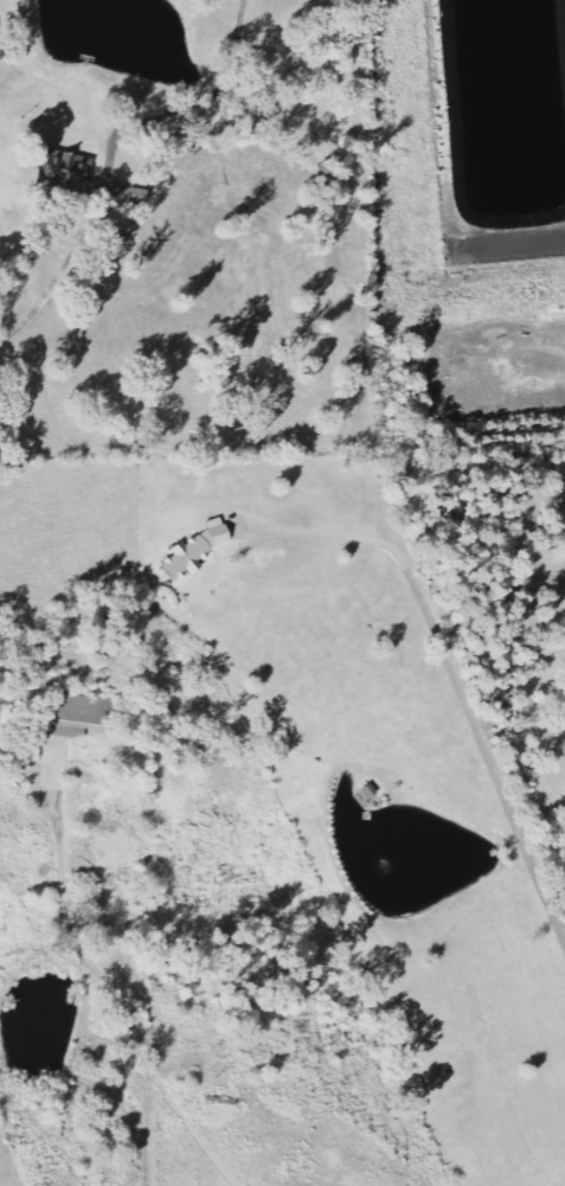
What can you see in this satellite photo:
building: (70, 172)
building: (198, 551)
road: (489, 764)
road: (146, 1127)

